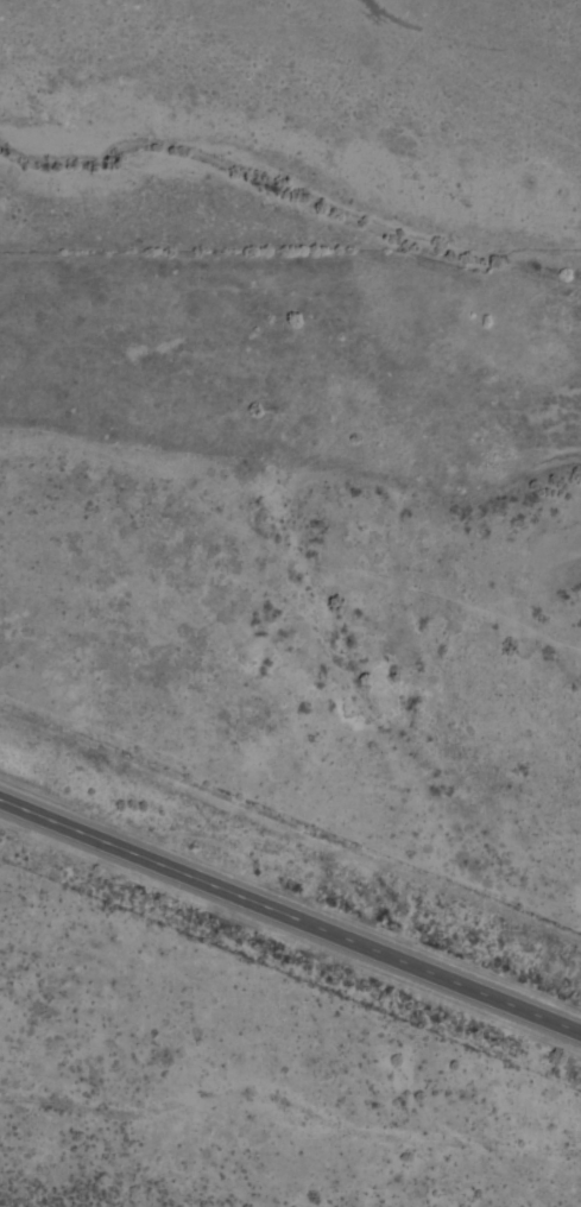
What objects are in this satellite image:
road: (290, 921)

